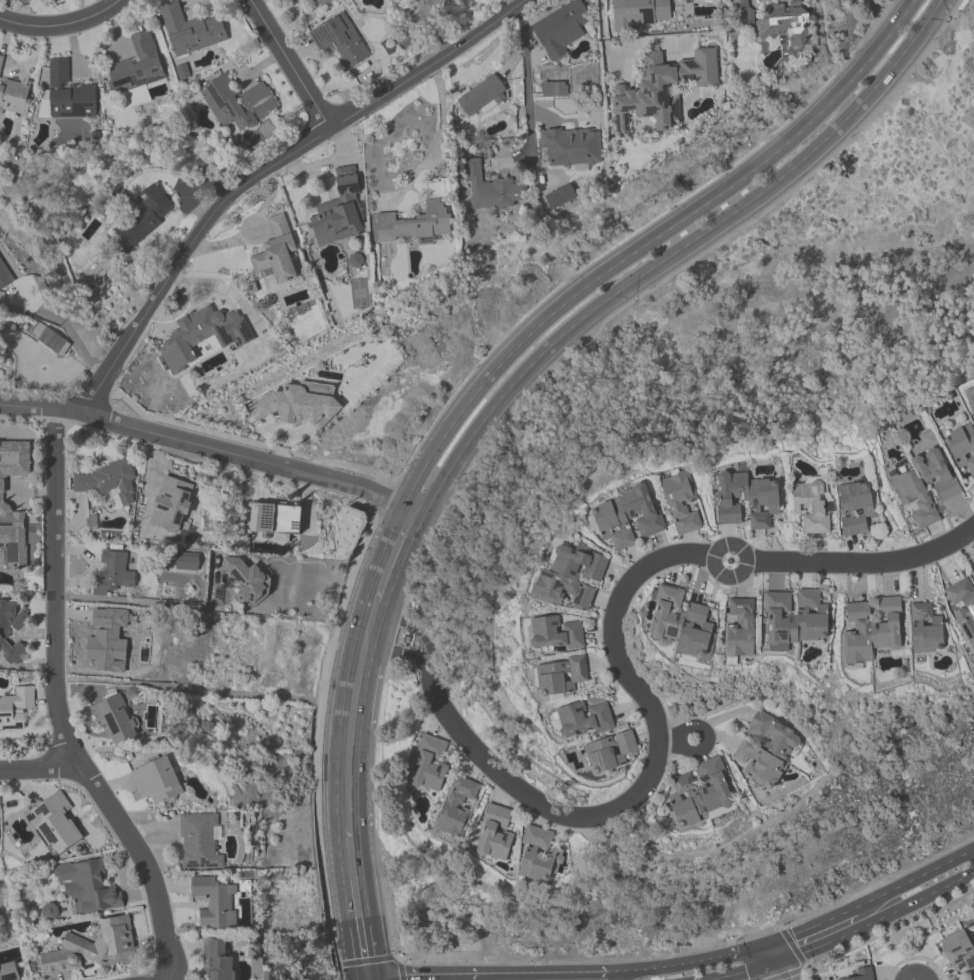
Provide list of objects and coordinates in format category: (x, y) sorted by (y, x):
building: (322, 3)
building: (738, 4)
building: (640, 13)
building: (783, 23)
road: (601, 25)
road: (63, 27)
building: (560, 29)
building: (191, 31)
building: (339, 42)
building: (1, 62)
road: (289, 64)
road: (525, 71)
building: (138, 72)
building: (554, 90)
building: (661, 90)
building: (69, 94)
building: (482, 97)
building: (15, 98)
building: (237, 104)
road: (439, 135)
building: (572, 149)
building: (491, 190)
road: (234, 193)
building: (340, 211)
building: (144, 218)
building: (416, 225)
road: (650, 244)
road: (676, 254)
building: (279, 255)
building: (4, 281)
road: (65, 327)
building: (207, 334)
building: (53, 341)
building: (971, 403)
building: (298, 405)
building: (961, 447)
road: (246, 459)
building: (108, 482)
building: (925, 483)
building: (746, 500)
building: (165, 501)
building: (681, 501)
building: (811, 507)
road: (80, 508)
building: (855, 508)
building: (12, 516)
building: (627, 518)
building: (276, 520)
road: (391, 554)
road: (866, 563)
road: (91, 566)
road: (713, 569)
building: (113, 574)
building: (571, 579)
building: (246, 581)
road: (147, 602)
building: (962, 606)
road: (372, 607)
building: (795, 618)
road: (391, 620)
road: (368, 622)
building: (681, 623)
building: (740, 630)
building: (871, 630)
building: (927, 630)
building: (4, 635)
building: (554, 636)
building: (108, 637)
road: (383, 640)
road: (429, 646)
road: (414, 659)
building: (559, 678)
road: (356, 679)
building: (15, 709)
road: (56, 710)
building: (115, 718)
building: (582, 720)
road: (709, 740)
building: (765, 751)
building: (609, 753)
road: (36, 765)
building: (430, 765)
road: (348, 777)
building: (157, 781)
road: (650, 781)
building: (700, 795)
building: (457, 808)
building: (55, 823)
building: (494, 834)
building: (200, 841)
building: (538, 854)
road: (914, 881)
building: (88, 887)
road: (943, 889)
building: (215, 902)
road: (356, 902)
building: (49, 912)
road: (809, 927)
road: (843, 935)
traffic signals: (791, 936)
building: (93, 949)
road: (750, 949)
building: (959, 950)
road: (769, 953)
traffic signals: (364, 957)
road: (377, 959)
building: (216, 960)
road: (671, 966)
road: (783, 970)
building: (9, 971)
road: (772, 971)
road: (743, 972)
traffic signals: (745, 972)
road: (486, 973)
building: (863, 974)
traffic signals: (405, 976)
traffic signals: (791, 977)
road: (366, 978)

